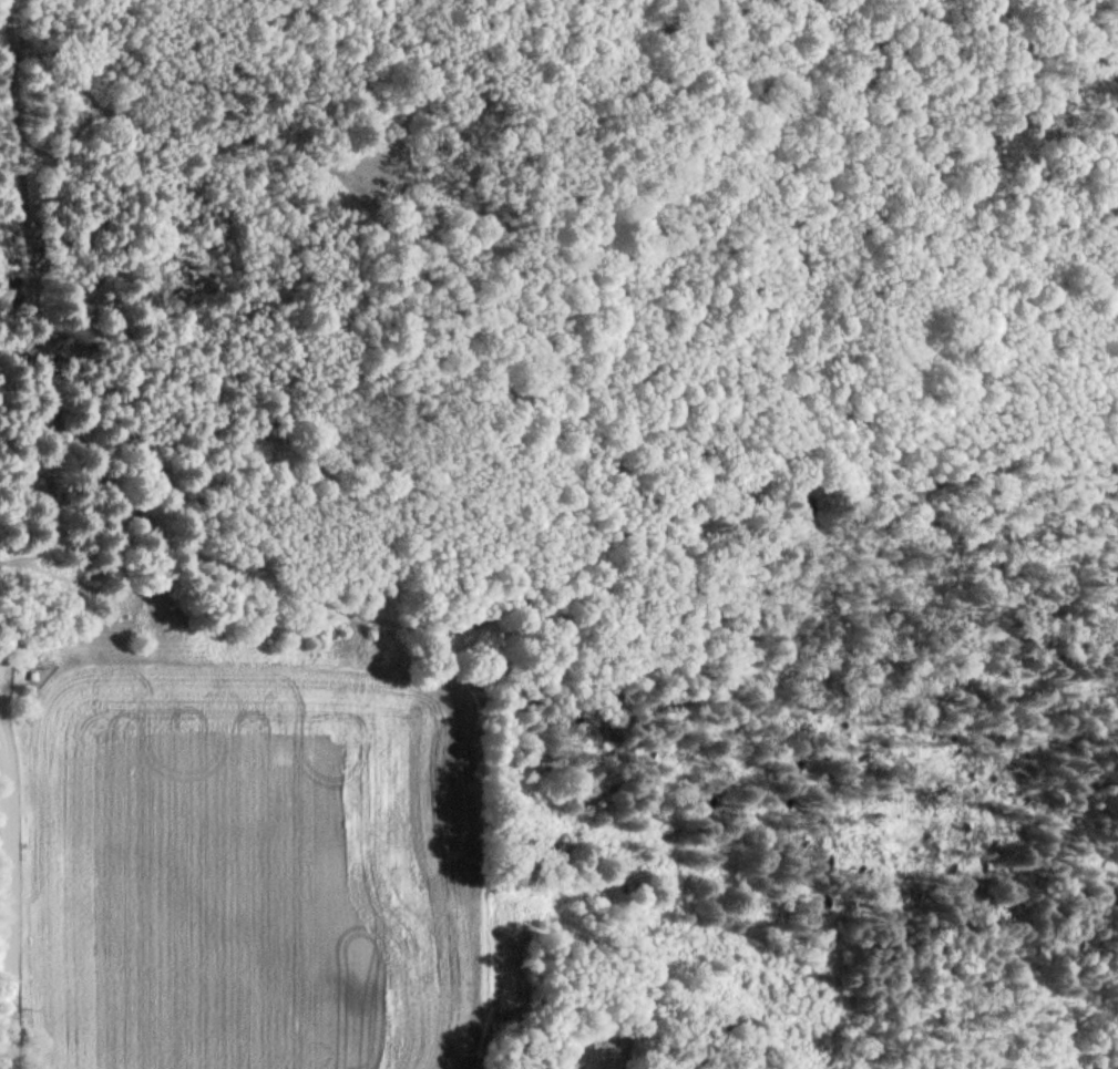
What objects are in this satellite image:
road: (6, 740)
road: (12, 914)

